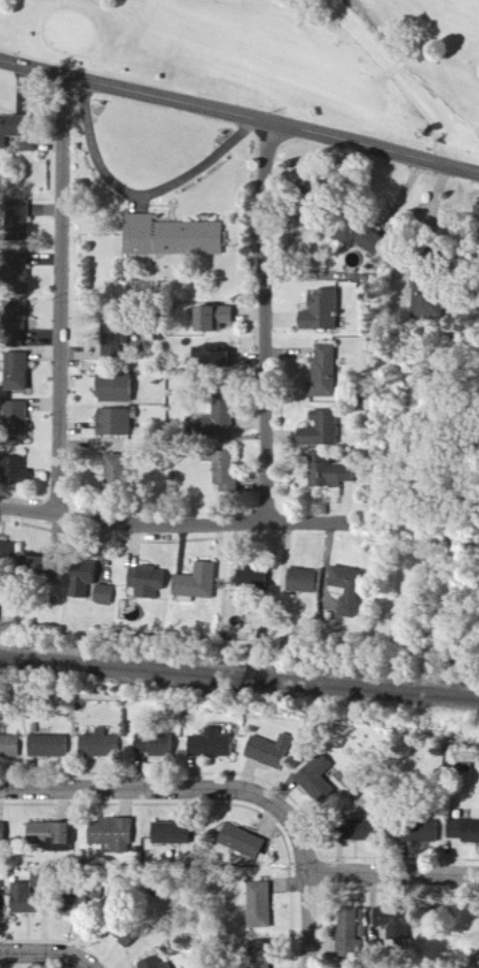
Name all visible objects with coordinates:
park: (283, 56)
road: (240, 113)
building: (14, 129)
building: (32, 145)
road: (139, 193)
building: (24, 218)
building: (175, 237)
building: (366, 239)
road: (59, 296)
building: (325, 312)
building: (220, 318)
road: (263, 320)
building: (122, 337)
building: (220, 357)
building: (21, 372)
building: (326, 373)
building: (119, 389)
building: (20, 416)
building: (223, 416)
building: (117, 423)
building: (327, 430)
building: (229, 472)
building: (121, 473)
building: (19, 474)
building: (334, 475)
road: (171, 525)
building: (9, 554)
building: (257, 577)
building: (307, 581)
building: (88, 582)
building: (151, 582)
building: (199, 584)
building: (352, 589)
building: (107, 595)
building: (0, 614)
railway: (239, 671)
building: (99, 744)
building: (219, 744)
building: (152, 746)
building: (10, 747)
building: (48, 747)
building: (270, 751)
building: (319, 779)
road: (180, 793)
building: (353, 830)
building: (417, 831)
building: (464, 831)
building: (3, 833)
building: (54, 834)
building: (113, 834)
building: (173, 834)
building: (245, 842)
road: (394, 876)
building: (42, 879)
building: (23, 899)
building: (80, 899)
building: (1, 904)
building: (263, 907)
road: (309, 922)
building: (398, 925)
building: (124, 931)
building: (354, 940)
building: (366, 945)
road: (51, 954)
building: (259, 955)
building: (152, 964)

